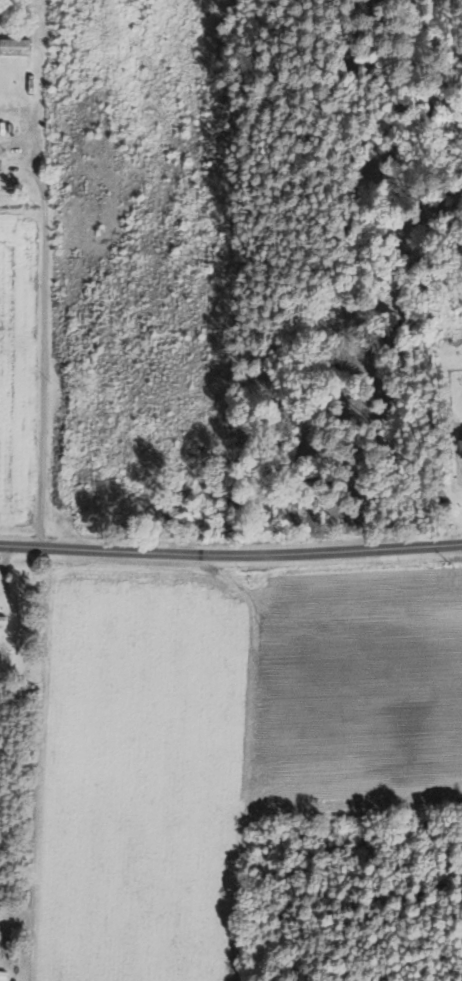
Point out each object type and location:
building: (14, 46)
road: (42, 346)
building: (461, 433)
road: (230, 555)
road: (9, 600)
building: (3, 620)
crop: (221, 743)
building: (1, 973)

